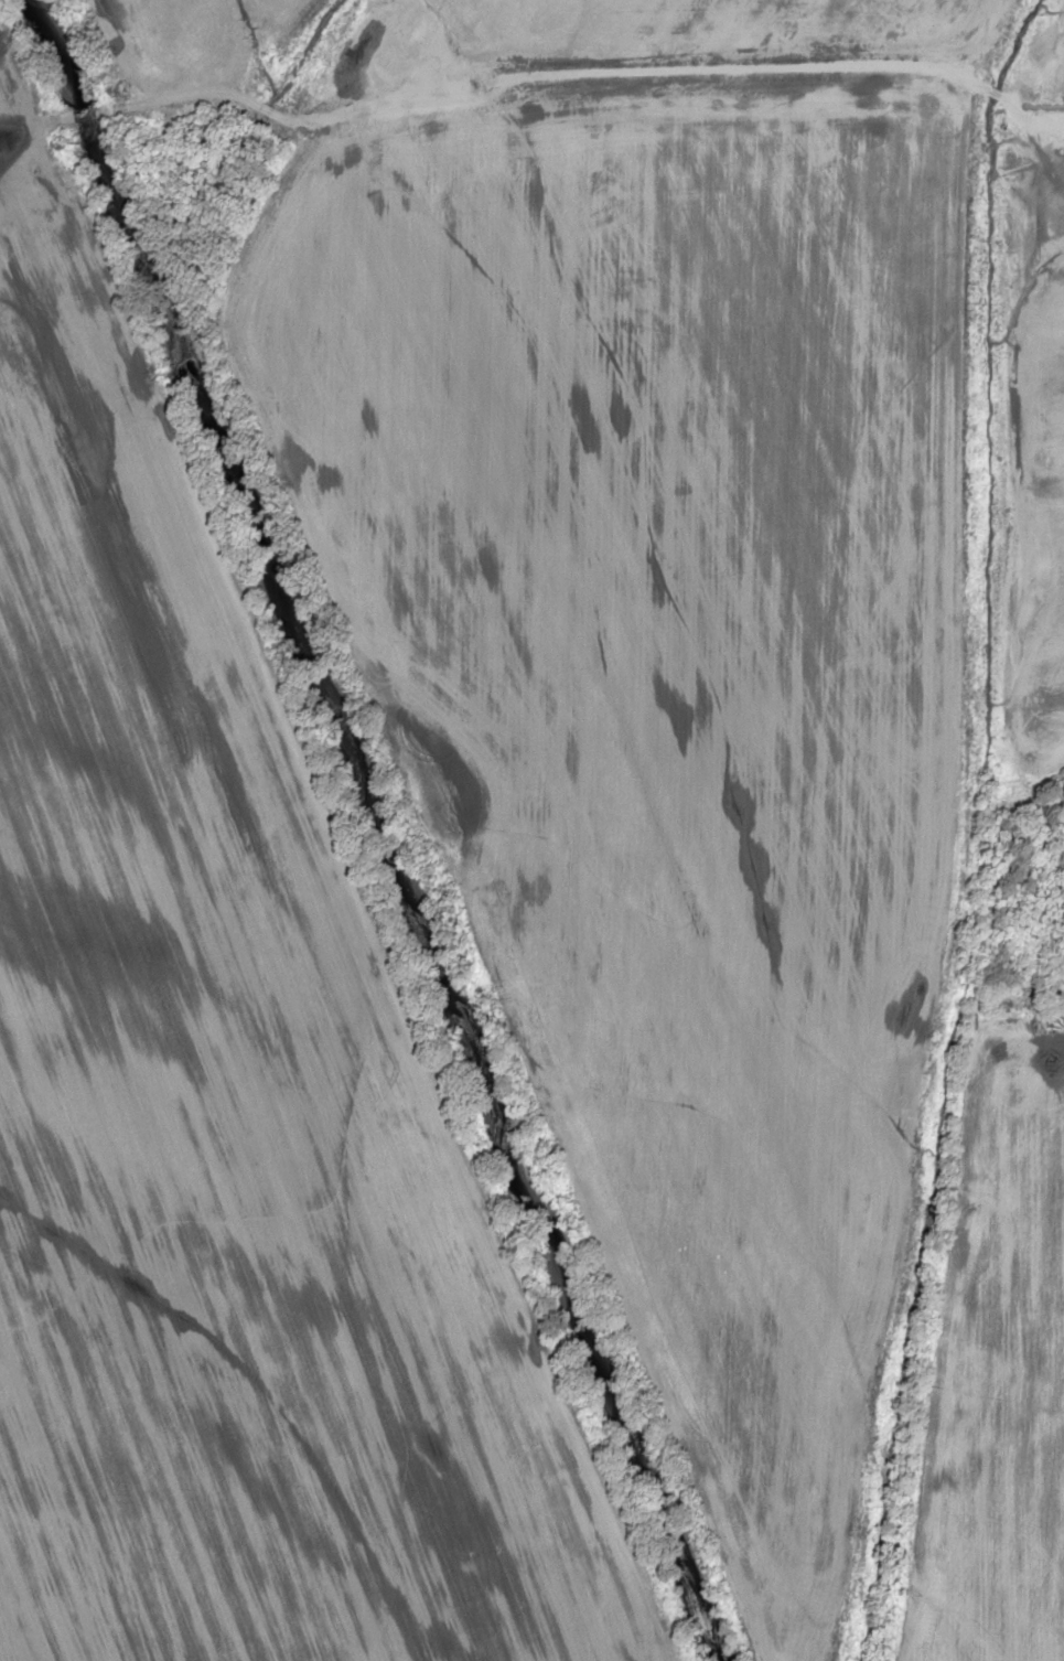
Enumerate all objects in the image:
road: (346, 99)
river: (385, 829)

